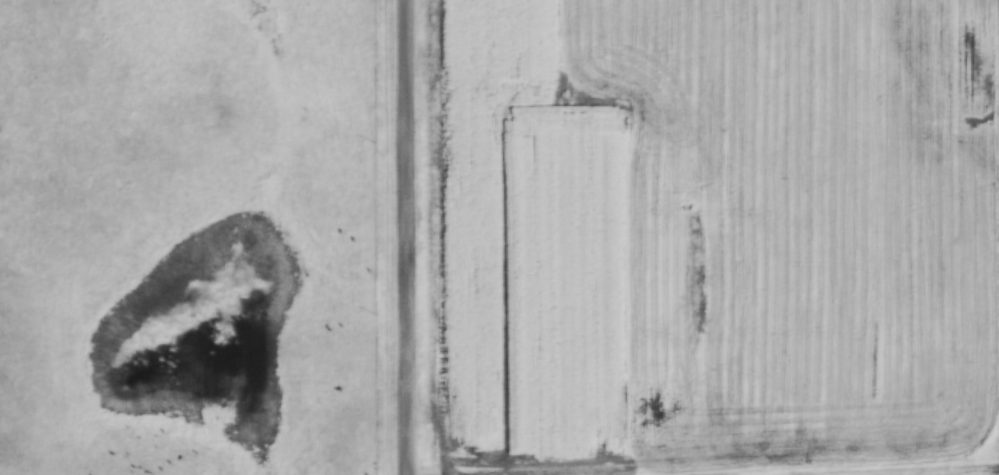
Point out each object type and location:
road: (407, 237)

